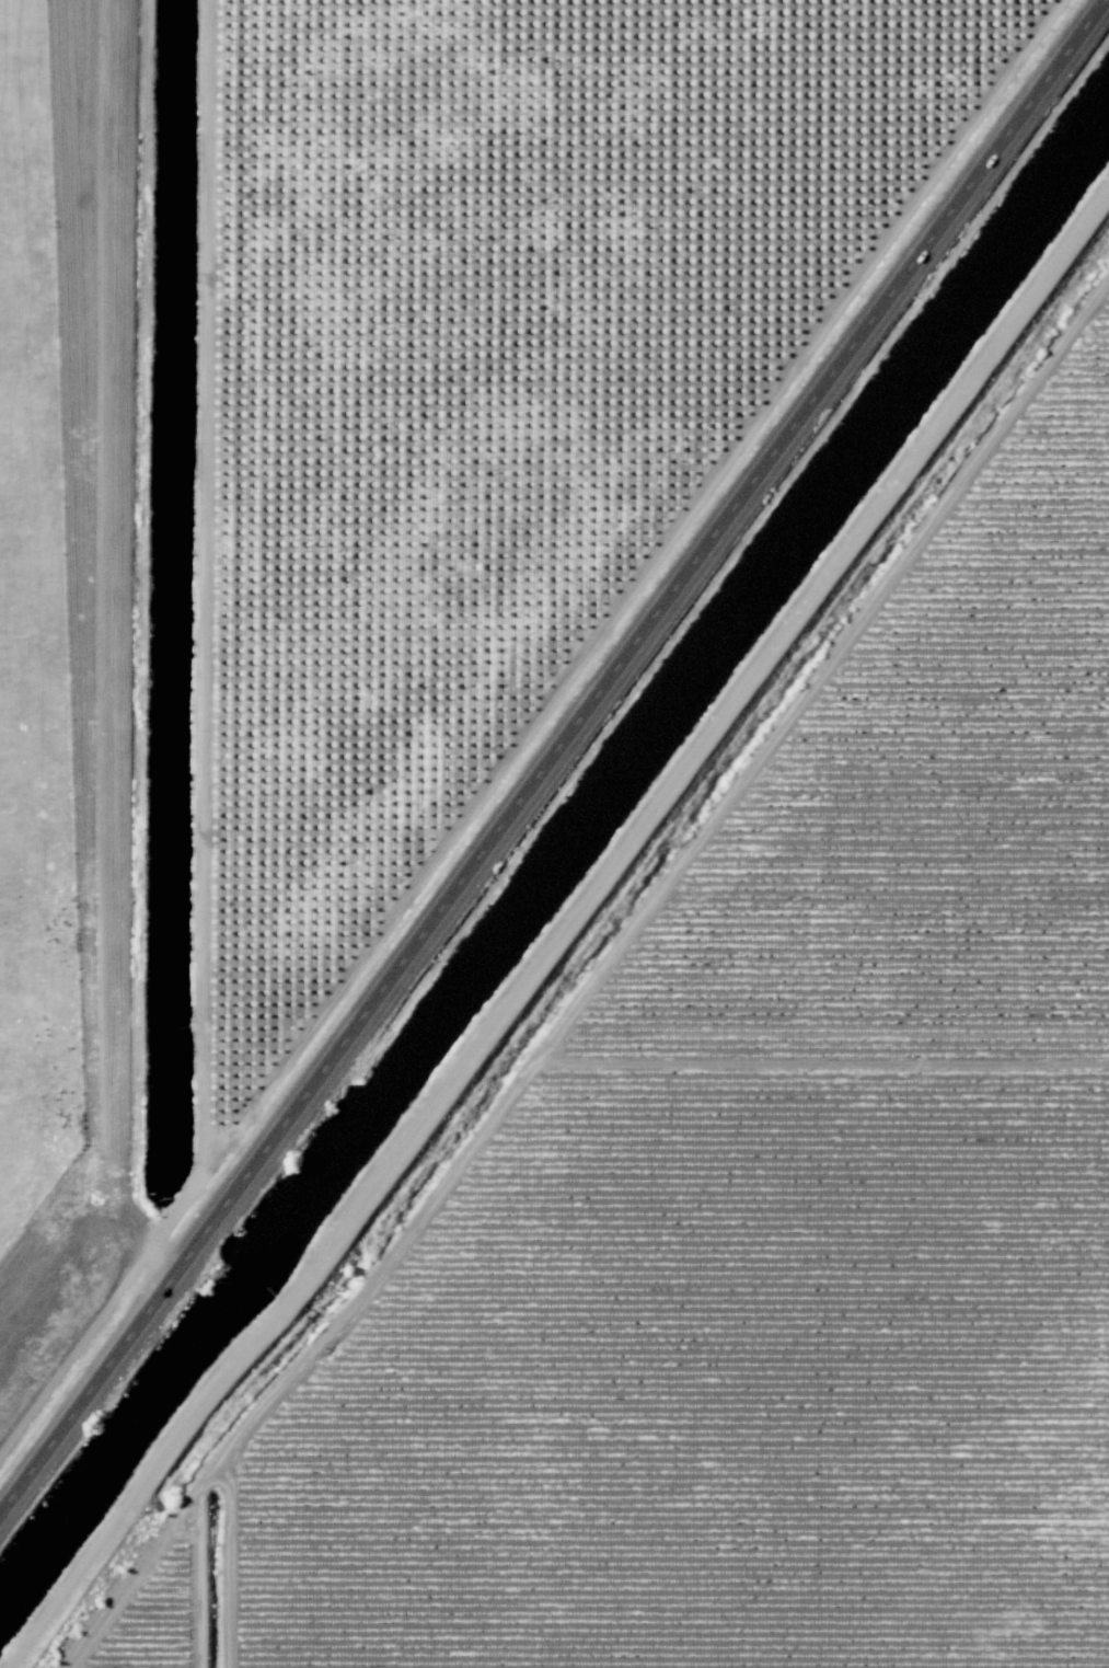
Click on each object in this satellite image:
road: (554, 770)
crop: (621, 856)

